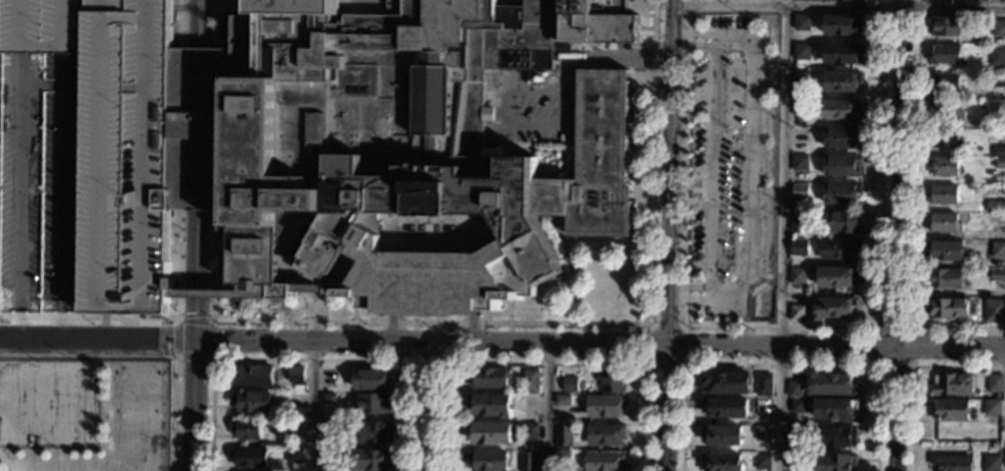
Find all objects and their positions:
building: (858, 0)
building: (974, 0)
building: (1003, 0)
road: (364, 3)
road: (222, 4)
road: (838, 6)
road: (182, 23)
road: (201, 23)
road: (216, 23)
building: (801, 23)
building: (841, 25)
building: (945, 26)
building: (998, 29)
road: (698, 33)
building: (998, 42)
road: (691, 44)
building: (801, 52)
building: (841, 53)
building: (945, 54)
building: (997, 56)
building: (800, 80)
building: (998, 81)
building: (839, 82)
building: (945, 83)
building: (800, 108)
building: (840, 109)
building: (945, 111)
parking lot: (530, 114)
road: (563, 126)
road: (181, 128)
road: (200, 128)
road: (215, 128)
building: (800, 136)
building: (840, 137)
building: (945, 139)
building: (293, 150)
building: (998, 152)
parking lot: (85, 154)
building: (799, 163)
building: (999, 164)
building: (841, 165)
road: (710, 166)
parking lot: (729, 166)
building: (943, 166)
road: (747, 167)
building: (799, 192)
building: (839, 193)
building: (942, 195)
building: (995, 206)
road: (915, 209)
building: (999, 219)
building: (798, 222)
building: (841, 223)
building: (943, 223)
building: (1003, 227)
building: (300, 234)
road: (665, 235)
road: (896, 235)
road: (781, 238)
road: (571, 246)
building: (798, 247)
road: (179, 249)
road: (197, 249)
building: (838, 249)
road: (214, 250)
building: (944, 250)
building: (997, 250)
road: (253, 257)
road: (221, 258)
road: (213, 269)
road: (253, 270)
road: (296, 271)
building: (998, 275)
building: (797, 276)
building: (837, 277)
building: (944, 278)
road: (286, 279)
road: (318, 286)
road: (301, 287)
road: (685, 288)
road: (178, 292)
road: (196, 293)
road: (213, 293)
road: (692, 299)
road: (322, 306)
building: (835, 308)
building: (951, 309)
building: (994, 311)
building: (796, 313)
road: (313, 315)
building: (636, 316)
road: (195, 317)
road: (101, 322)
road: (581, 326)
road: (782, 328)
road: (879, 329)
traffic signals: (195, 338)
road: (502, 346)
road: (144, 358)
road: (211, 358)
road: (311, 358)
road: (433, 363)
road: (548, 365)
road: (684, 365)
road: (780, 367)
road: (913, 373)
building: (295, 374)
building: (253, 376)
building: (490, 377)
building: (372, 380)
road: (111, 381)
building: (530, 381)
building: (613, 382)
building: (725, 383)
building: (995, 383)
building: (829, 384)
building: (951, 384)
road: (35, 385)
building: (571, 385)
building: (763, 385)
building: (794, 389)
building: (328, 399)
building: (562, 400)
building: (252, 401)
road: (193, 404)
building: (375, 404)
parking lot: (48, 405)
building: (491, 405)
road: (311, 406)
building: (604, 406)
building: (762, 406)
building: (797, 406)
building: (725, 407)
road: (429, 408)
building: (834, 408)
building: (991, 408)
road: (547, 409)
building: (949, 410)
building: (327, 425)
building: (295, 427)
road: (32, 428)
building: (246, 429)
road: (3, 431)
building: (530, 431)
building: (372, 432)
building: (491, 432)
building: (762, 433)
building: (605, 434)
building: (795, 434)
building: (720, 435)
building: (563, 436)
building: (836, 437)
building: (351, 438)
building: (994, 445)
building: (294, 455)
building: (249, 457)
building: (327, 457)
building: (562, 458)
building: (367, 460)
building: (486, 460)
building: (527, 461)
building: (604, 461)
building: (722, 462)
building: (761, 462)
building: (794, 462)
building: (835, 462)
road: (4, 463)
building: (950, 463)
building: (991, 463)

